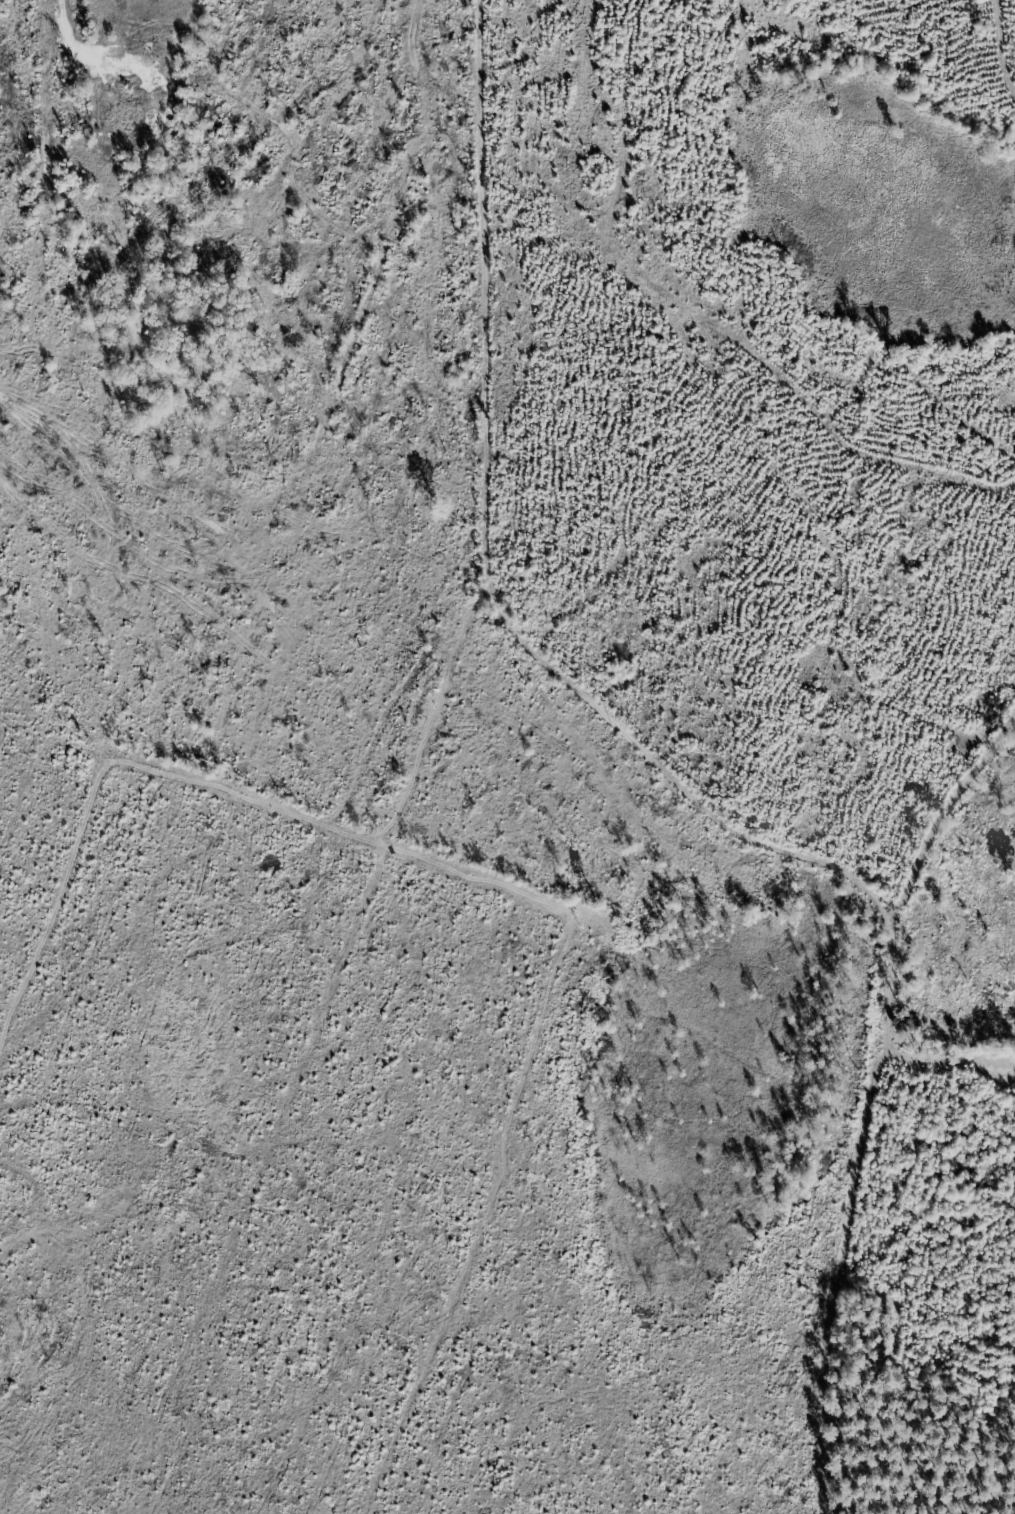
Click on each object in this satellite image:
road: (73, 21)

